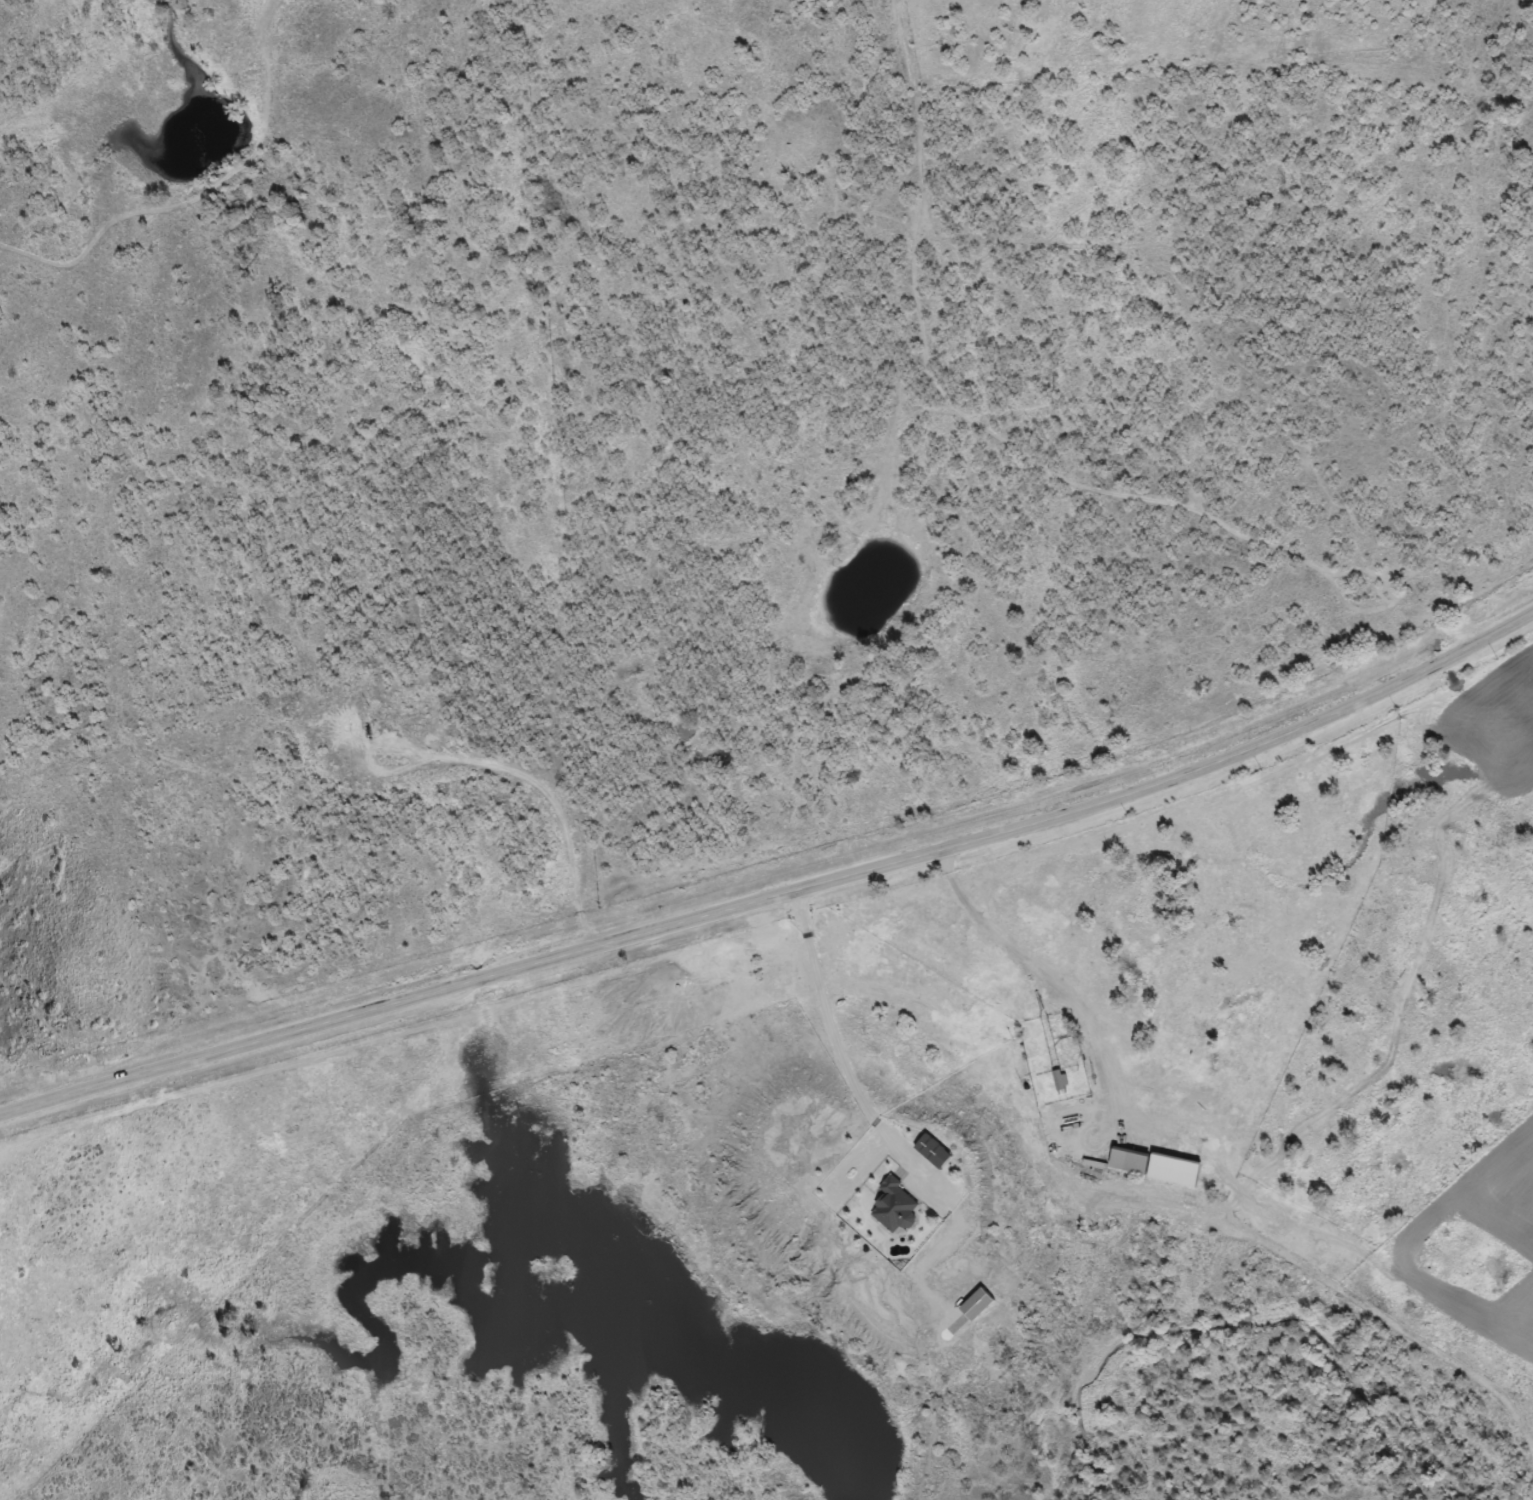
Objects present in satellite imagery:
road: (778, 891)
building: (1055, 1078)
building: (935, 1150)
building: (1124, 1161)
building: (895, 1205)
building: (979, 1303)

